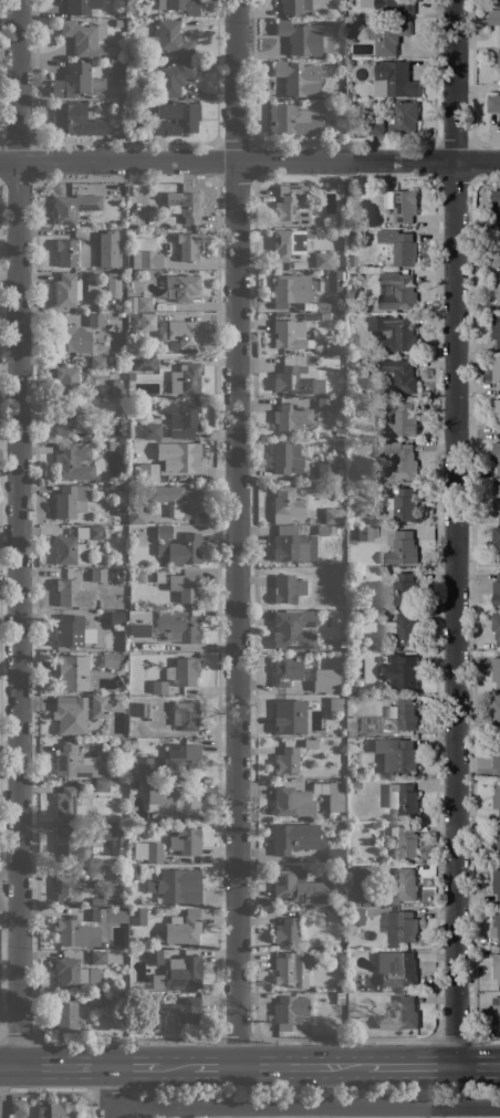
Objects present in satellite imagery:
building: (498, 1)
building: (180, 6)
building: (396, 6)
building: (79, 7)
building: (294, 7)
building: (132, 13)
building: (379, 14)
building: (493, 17)
building: (118, 23)
building: (387, 36)
building: (85, 38)
building: (304, 38)
building: (169, 39)
building: (498, 58)
building: (117, 69)
building: (174, 77)
building: (298, 77)
building: (396, 79)
building: (79, 83)
building: (493, 104)
building: (404, 116)
building: (176, 117)
building: (76, 119)
building: (292, 121)
building: (377, 126)
road: (250, 160)
building: (291, 205)
building: (400, 205)
building: (185, 206)
building: (74, 207)
building: (496, 207)
building: (330, 222)
building: (358, 232)
building: (97, 236)
building: (290, 242)
building: (144, 243)
building: (188, 247)
building: (400, 247)
building: (496, 248)
building: (72, 253)
building: (145, 260)
building: (324, 260)
building: (352, 261)
building: (334, 281)
building: (114, 285)
building: (184, 286)
building: (93, 288)
building: (497, 289)
building: (66, 290)
building: (291, 290)
building: (397, 291)
building: (144, 304)
building: (305, 305)
building: (326, 306)
building: (96, 320)
building: (148, 322)
building: (496, 328)
building: (395, 332)
building: (185, 333)
building: (288, 333)
building: (65, 338)
building: (309, 344)
building: (334, 349)
building: (369, 359)
building: (97, 363)
building: (145, 363)
building: (117, 366)
building: (110, 367)
building: (496, 372)
building: (400, 375)
building: (296, 376)
building: (67, 379)
building: (186, 379)
building: (115, 387)
building: (324, 405)
building: (496, 414)
building: (180, 415)
building: (291, 417)
building: (400, 418)
building: (69, 421)
building: (341, 430)
building: (152, 431)
building: (341, 447)
building: (184, 456)
building: (496, 457)
building: (287, 458)
building: (399, 460)
building: (73, 462)
building: (325, 471)
building: (340, 471)
building: (148, 477)
building: (337, 490)
building: (122, 499)
building: (496, 499)
building: (69, 500)
building: (176, 500)
building: (287, 505)
building: (403, 505)
building: (136, 514)
building: (333, 515)
building: (351, 527)
building: (322, 530)
building: (333, 530)
building: (90, 532)
road: (237, 532)
building: (366, 532)
road: (454, 532)
road: (17, 533)
building: (497, 540)
building: (292, 545)
building: (178, 547)
building: (400, 547)
building: (69, 551)
building: (97, 575)
building: (138, 577)
building: (185, 585)
building: (288, 588)
building: (496, 591)
building: (67, 592)
building: (403, 592)
building: (116, 618)
building: (137, 623)
building: (179, 625)
building: (496, 627)
building: (293, 629)
building: (402, 629)
building: (69, 630)
building: (155, 645)
building: (107, 660)
building: (287, 669)
building: (496, 670)
building: (184, 671)
building: (402, 671)
building: (72, 672)
building: (331, 681)
building: (159, 687)
building: (351, 688)
building: (132, 699)
building: (335, 703)
building: (98, 707)
building: (142, 710)
building: (496, 712)
building: (71, 714)
building: (404, 714)
building: (185, 715)
building: (290, 717)
building: (133, 744)
building: (311, 745)
building: (496, 756)
building: (396, 757)
building: (184, 761)
building: (287, 761)
building: (72, 763)
building: (145, 766)
building: (131, 784)
building: (140, 784)
building: (356, 785)
building: (102, 786)
building: (330, 794)
building: (174, 796)
building: (402, 798)
building: (497, 798)
building: (129, 801)
building: (292, 802)
building: (67, 803)
building: (354, 826)
building: (112, 836)
building: (294, 838)
building: (496, 838)
building: (406, 840)
building: (73, 842)
building: (186, 842)
building: (154, 853)
building: (334, 854)
building: (124, 860)
road: (8, 870)
building: (96, 871)
building: (134, 871)
building: (361, 873)
building: (114, 875)
building: (497, 882)
building: (177, 886)
building: (400, 886)
building: (301, 887)
building: (66, 890)
building: (102, 901)
building: (98, 915)
building: (355, 916)
building: (138, 917)
building: (497, 924)
building: (403, 926)
building: (184, 929)
building: (287, 931)
building: (76, 933)
building: (158, 936)
building: (133, 942)
building: (338, 952)
road: (0, 954)
building: (97, 958)
building: (155, 958)
building: (497, 968)
building: (292, 970)
building: (399, 970)
building: (71, 973)
building: (178, 974)
building: (60, 995)
building: (96, 1000)
building: (188, 1010)
building: (289, 1012)
building: (405, 1013)
building: (496, 1013)
building: (66, 1017)
road: (345, 1037)
road: (454, 1037)
road: (485, 1037)
road: (18, 1038)
road: (127, 1038)
road: (236, 1038)
road: (410, 1065)
road: (477, 1065)
road: (54, 1066)
road: (129, 1066)
road: (259, 1066)
road: (45, 1090)
road: (108, 1091)
road: (0, 1104)
road: (91, 1105)
road: (105, 1105)
road: (304, 1106)
building: (18, 1107)
building: (55, 1109)

